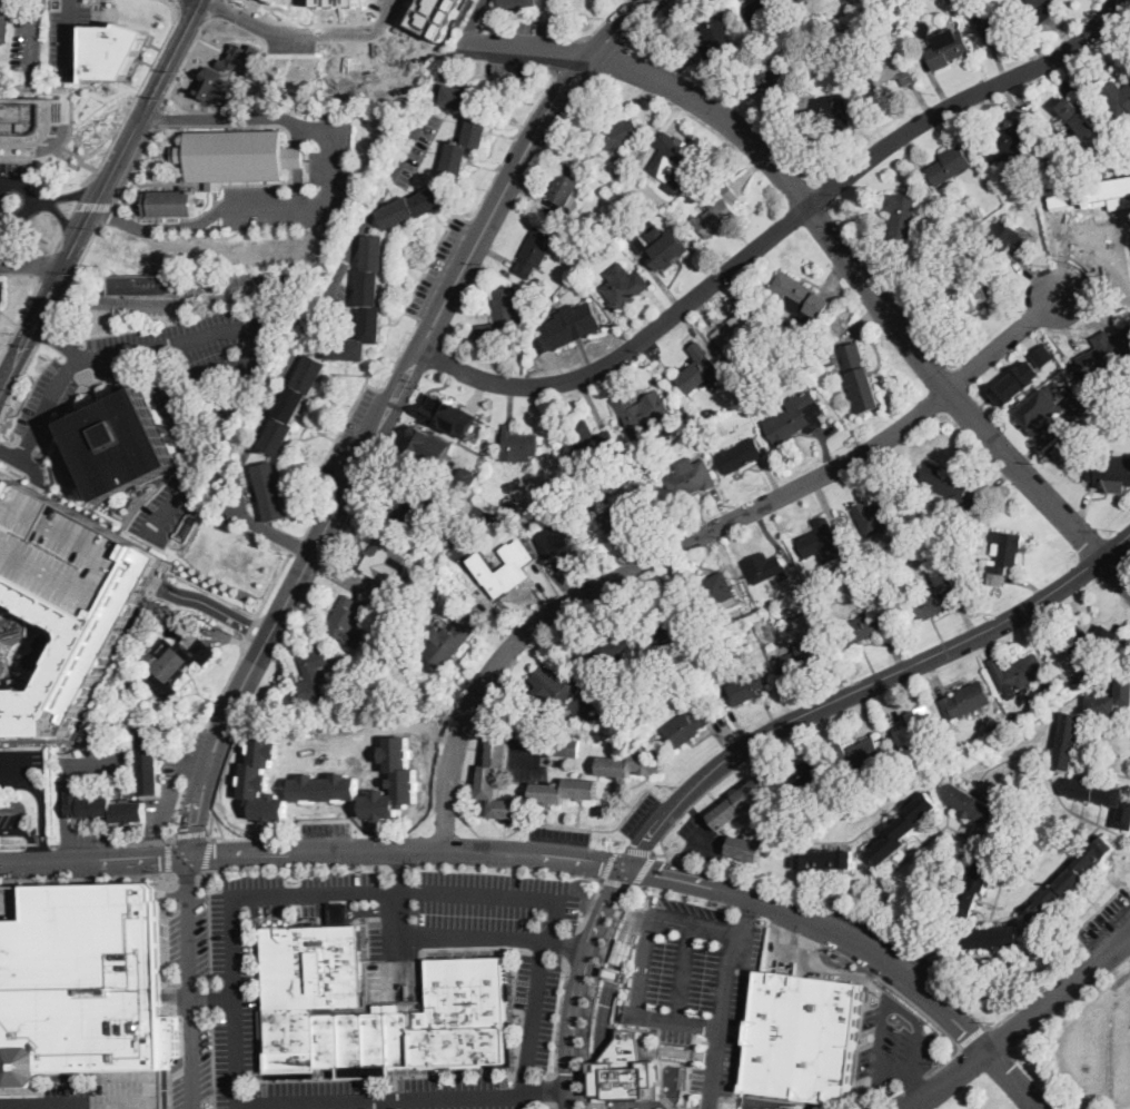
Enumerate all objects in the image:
building: (802, 0)
building: (518, 3)
building: (762, 7)
building: (1041, 10)
building: (881, 14)
building: (437, 16)
building: (993, 20)
road: (602, 22)
building: (806, 22)
building: (4, 26)
building: (923, 28)
road: (71, 31)
road: (300, 32)
road: (33, 33)
parking lot: (75, 34)
building: (715, 36)
parking lot: (28, 37)
building: (946, 48)
building: (115, 50)
road: (187, 52)
road: (571, 55)
building: (239, 57)
building: (840, 62)
building: (892, 68)
road: (1071, 76)
road: (1054, 80)
building: (769, 81)
road: (1069, 81)
building: (215, 86)
road: (136, 95)
road: (101, 98)
building: (1117, 98)
building: (829, 111)
road: (149, 117)
building: (1078, 117)
road: (156, 118)
building: (29, 120)
building: (477, 127)
building: (614, 130)
road: (133, 132)
building: (1008, 143)
building: (643, 149)
building: (238, 156)
building: (673, 156)
building: (950, 165)
building: (640, 166)
road: (139, 167)
building: (1050, 171)
building: (565, 187)
road: (329, 189)
road: (77, 194)
building: (1092, 194)
road: (34, 201)
road: (41, 201)
building: (170, 202)
parking lot: (13, 204)
road: (97, 205)
building: (414, 206)
building: (718, 211)
road: (101, 216)
building: (901, 216)
road: (111, 217)
road: (61, 220)
building: (965, 222)
road: (777, 230)
road: (60, 238)
building: (1009, 238)
building: (643, 245)
road: (836, 245)
road: (238, 247)
building: (668, 249)
building: (535, 251)
building: (971, 251)
road: (349, 253)
building: (895, 254)
road: (32, 264)
road: (48, 265)
road: (73, 273)
building: (925, 273)
building: (143, 284)
building: (624, 286)
parking lot: (1, 291)
building: (960, 293)
building: (801, 296)
road: (408, 298)
road: (116, 300)
building: (365, 305)
road: (19, 317)
building: (504, 319)
road: (32, 324)
building: (568, 325)
road: (42, 331)
building: (739, 331)
road: (59, 339)
building: (774, 345)
road: (137, 350)
building: (1104, 353)
building: (1042, 354)
building: (831, 359)
building: (698, 369)
road: (87, 376)
road: (209, 376)
building: (860, 378)
road: (18, 382)
building: (1013, 382)
building: (740, 393)
road: (97, 394)
parking lot: (175, 394)
building: (1077, 399)
road: (180, 403)
building: (293, 404)
building: (1111, 404)
building: (1039, 409)
building: (642, 410)
road: (65, 414)
building: (448, 414)
road: (53, 418)
building: (797, 418)
building: (591, 438)
road: (217, 439)
building: (515, 443)
building: (120, 444)
building: (428, 444)
building: (740, 455)
road: (27, 463)
road: (18, 471)
building: (1109, 471)
road: (11, 472)
building: (465, 477)
building: (691, 477)
road: (37, 481)
building: (6, 485)
building: (952, 487)
building: (271, 491)
building: (440, 492)
building: (585, 493)
building: (617, 495)
building: (412, 505)
building: (513, 508)
building: (626, 512)
building: (875, 517)
road: (249, 519)
road: (327, 522)
road: (701, 535)
building: (562, 541)
building: (817, 541)
road: (295, 544)
building: (61, 547)
parking garage: (61, 547)
building: (1002, 556)
building: (384, 560)
building: (504, 566)
building: (764, 566)
road: (1114, 566)
building: (715, 590)
building: (805, 602)
building: (866, 602)
building: (935, 602)
road: (208, 606)
road: (245, 610)
building: (345, 620)
building: (671, 622)
road: (249, 628)
building: (862, 628)
building: (449, 640)
building: (1091, 642)
building: (604, 644)
building: (71, 647)
building: (806, 656)
building: (148, 659)
building: (704, 661)
building: (177, 663)
building: (1023, 673)
road: (919, 677)
building: (1048, 684)
road: (225, 685)
building: (549, 687)
building: (747, 687)
building: (307, 689)
building: (1111, 699)
building: (612, 700)
building: (967, 701)
building: (1017, 717)
building: (686, 726)
building: (916, 726)
road: (379, 729)
road: (487, 729)
building: (999, 729)
building: (990, 732)
building: (1068, 741)
road: (533, 742)
road: (753, 742)
parking lot: (336, 743)
road: (475, 747)
building: (565, 747)
building: (840, 750)
road: (196, 754)
parking lot: (531, 754)
building: (863, 754)
parking lot: (30, 760)
parking lot: (100, 762)
road: (103, 762)
building: (149, 762)
road: (197, 762)
building: (632, 764)
road: (221, 768)
road: (10, 772)
building: (809, 773)
building: (262, 778)
road: (467, 779)
building: (394, 781)
building: (498, 781)
parking lot: (167, 786)
building: (326, 786)
building: (565, 790)
road: (168, 792)
road: (618, 794)
road: (712, 794)
building: (1102, 796)
building: (740, 803)
building: (973, 805)
road: (61, 808)
building: (102, 808)
road: (456, 808)
road: (41, 812)
road: (578, 813)
parking lot: (640, 813)
parking lot: (12, 819)
road: (700, 820)
road: (216, 821)
road: (357, 823)
road: (596, 828)
road: (209, 829)
parking lot: (327, 829)
building: (903, 829)
road: (33, 830)
road: (503, 831)
road: (28, 832)
road: (176, 833)
road: (192, 833)
parking lot: (559, 835)
parking lot: (93, 838)
parking lot: (701, 838)
road: (12, 843)
road: (37, 843)
road: (53, 843)
road: (89, 843)
building: (746, 849)
road: (637, 850)
road: (206, 853)
road: (658, 853)
road: (169, 854)
traffic signals: (192, 855)
road: (559, 855)
building: (825, 859)
traffic signals: (626, 863)
road: (607, 864)
road: (643, 869)
road: (83, 871)
road: (140, 873)
road: (198, 873)
road: (186, 874)
road: (39, 877)
road: (87, 877)
building: (979, 878)
road: (616, 881)
building: (1070, 881)
parking lot: (337, 887)
road: (502, 895)
road: (791, 895)
road: (593, 900)
road: (354, 910)
parking lot: (470, 912)
parking lot: (1102, 922)
road: (698, 927)
parking lot: (240, 930)
road: (628, 931)
parking lot: (879, 931)
road: (453, 935)
building: (991, 938)
parking lot: (189, 941)
road: (567, 943)
building: (623, 951)
parking lot: (1129, 953)
road: (1077, 960)
road: (643, 964)
building: (614, 972)
road: (684, 972)
road: (615, 973)
road: (834, 973)
building: (625, 976)
parking lot: (693, 979)
building: (313, 981)
building: (83, 983)
road: (591, 992)
road: (215, 997)
road: (179, 998)
road: (722, 999)
building: (623, 1000)
road: (606, 1008)
parking lot: (535, 1011)
road: (558, 1019)
road: (678, 1020)
road: (934, 1021)
road: (1022, 1022)
building: (628, 1032)
road: (1097, 1033)
road: (971, 1034)
building: (800, 1036)
road: (1002, 1039)
road: (608, 1040)
building: (627, 1041)
parking lot: (235, 1042)
road: (627, 1043)
road: (602, 1046)
parking lot: (1097, 1046)
road: (648, 1047)
building: (623, 1048)
parking lot: (893, 1050)
road: (650, 1051)
road: (686, 1053)
road: (623, 1054)
building: (622, 1056)
parking lot: (194, 1066)
traffic signals: (572, 1072)
road: (895, 1073)
road: (1037, 1078)
building: (627, 1079)
road: (915, 1083)
road: (552, 1087)
road: (920, 1089)
parking lot: (455, 1092)
road: (549, 1093)
parking lot: (92, 1096)
building: (601, 1096)
road: (268, 1105)
road: (386, 1105)
road: (553, 1105)
road: (876, 1105)
road: (72, 1106)
building: (789, 1107)
building: (115, 1108)

